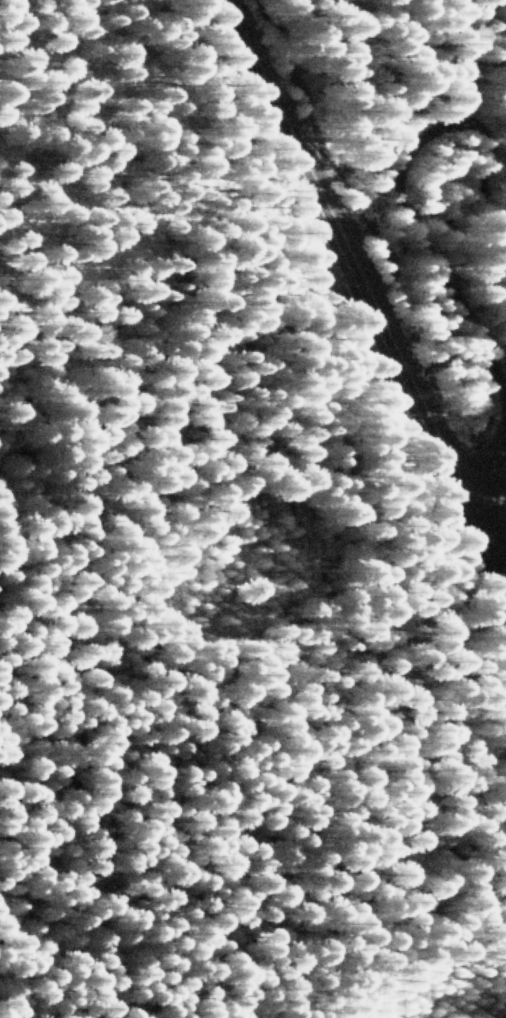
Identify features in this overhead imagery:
road: (453, 61)
road: (413, 251)
road: (358, 307)

